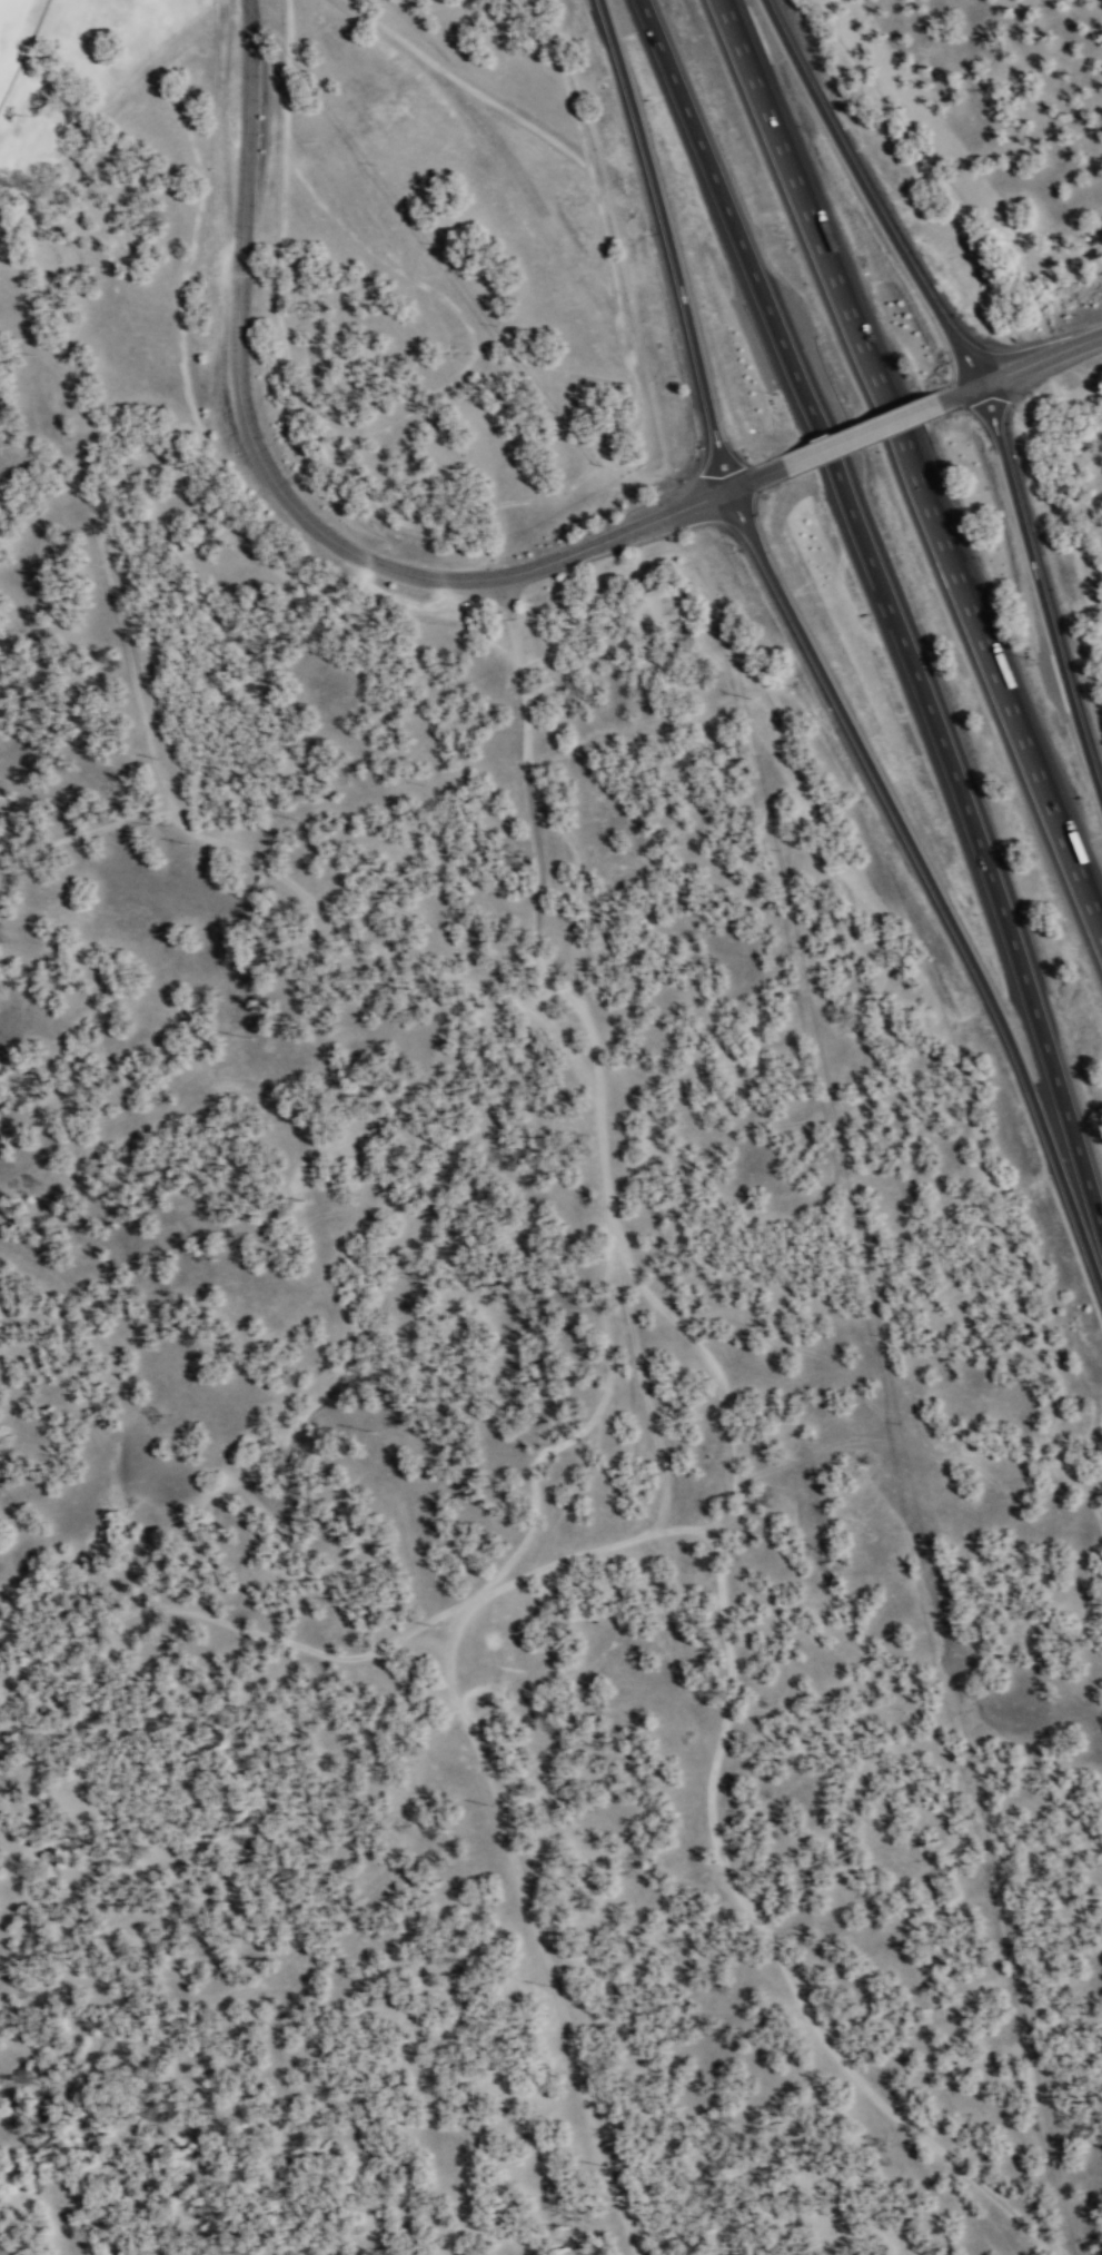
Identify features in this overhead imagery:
park: (78, 72)
road: (872, 192)
road: (669, 244)
road: (1015, 369)
road: (856, 435)
road: (919, 458)
road: (753, 478)
road: (275, 488)
road: (1043, 580)
road: (890, 606)
road: (923, 879)

